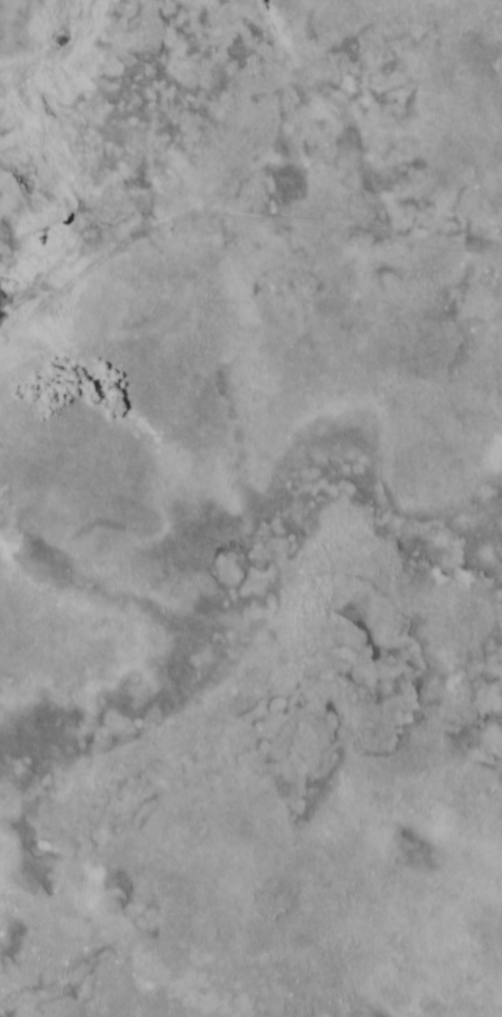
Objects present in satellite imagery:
road: (243, 213)

